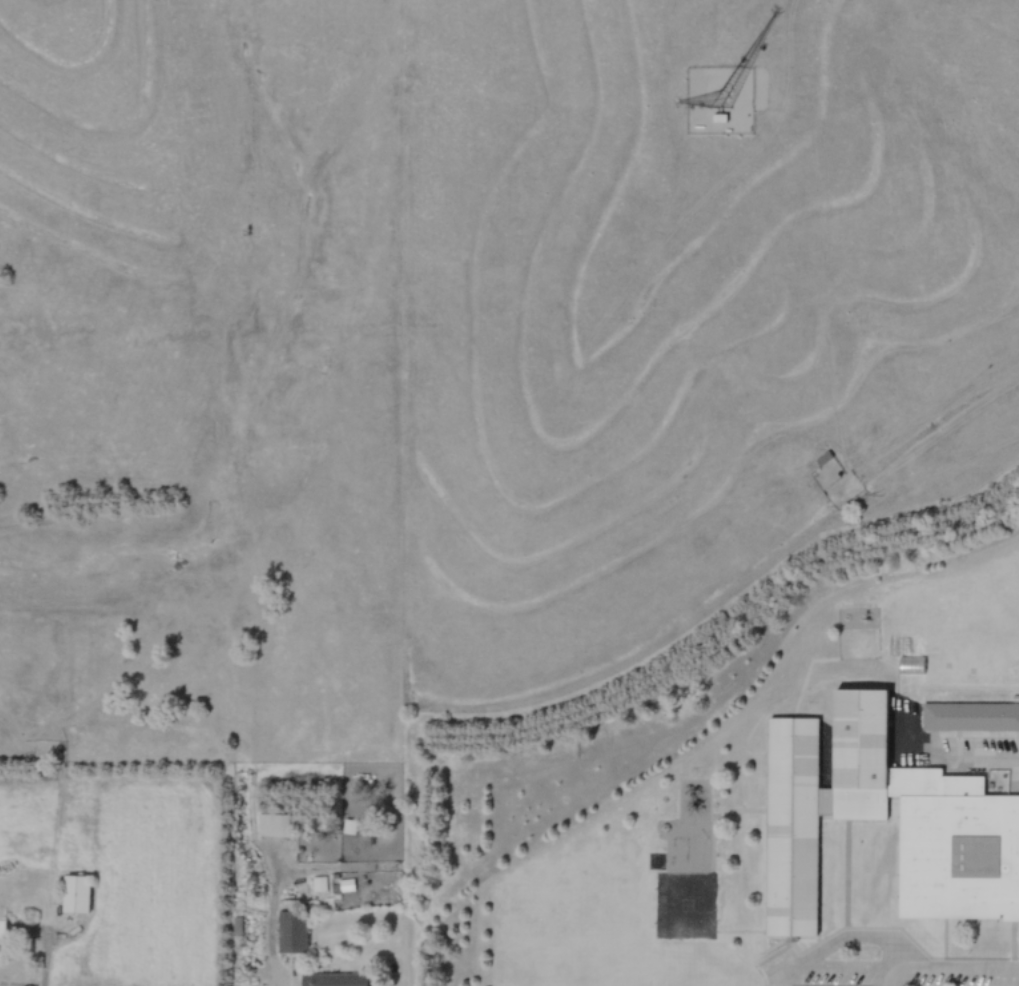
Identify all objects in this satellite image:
building: (969, 716)
building: (827, 808)
building: (74, 895)
building: (1, 931)
building: (290, 932)
road: (893, 937)
road: (51, 955)
road: (890, 960)
road: (287, 973)
building: (331, 980)

